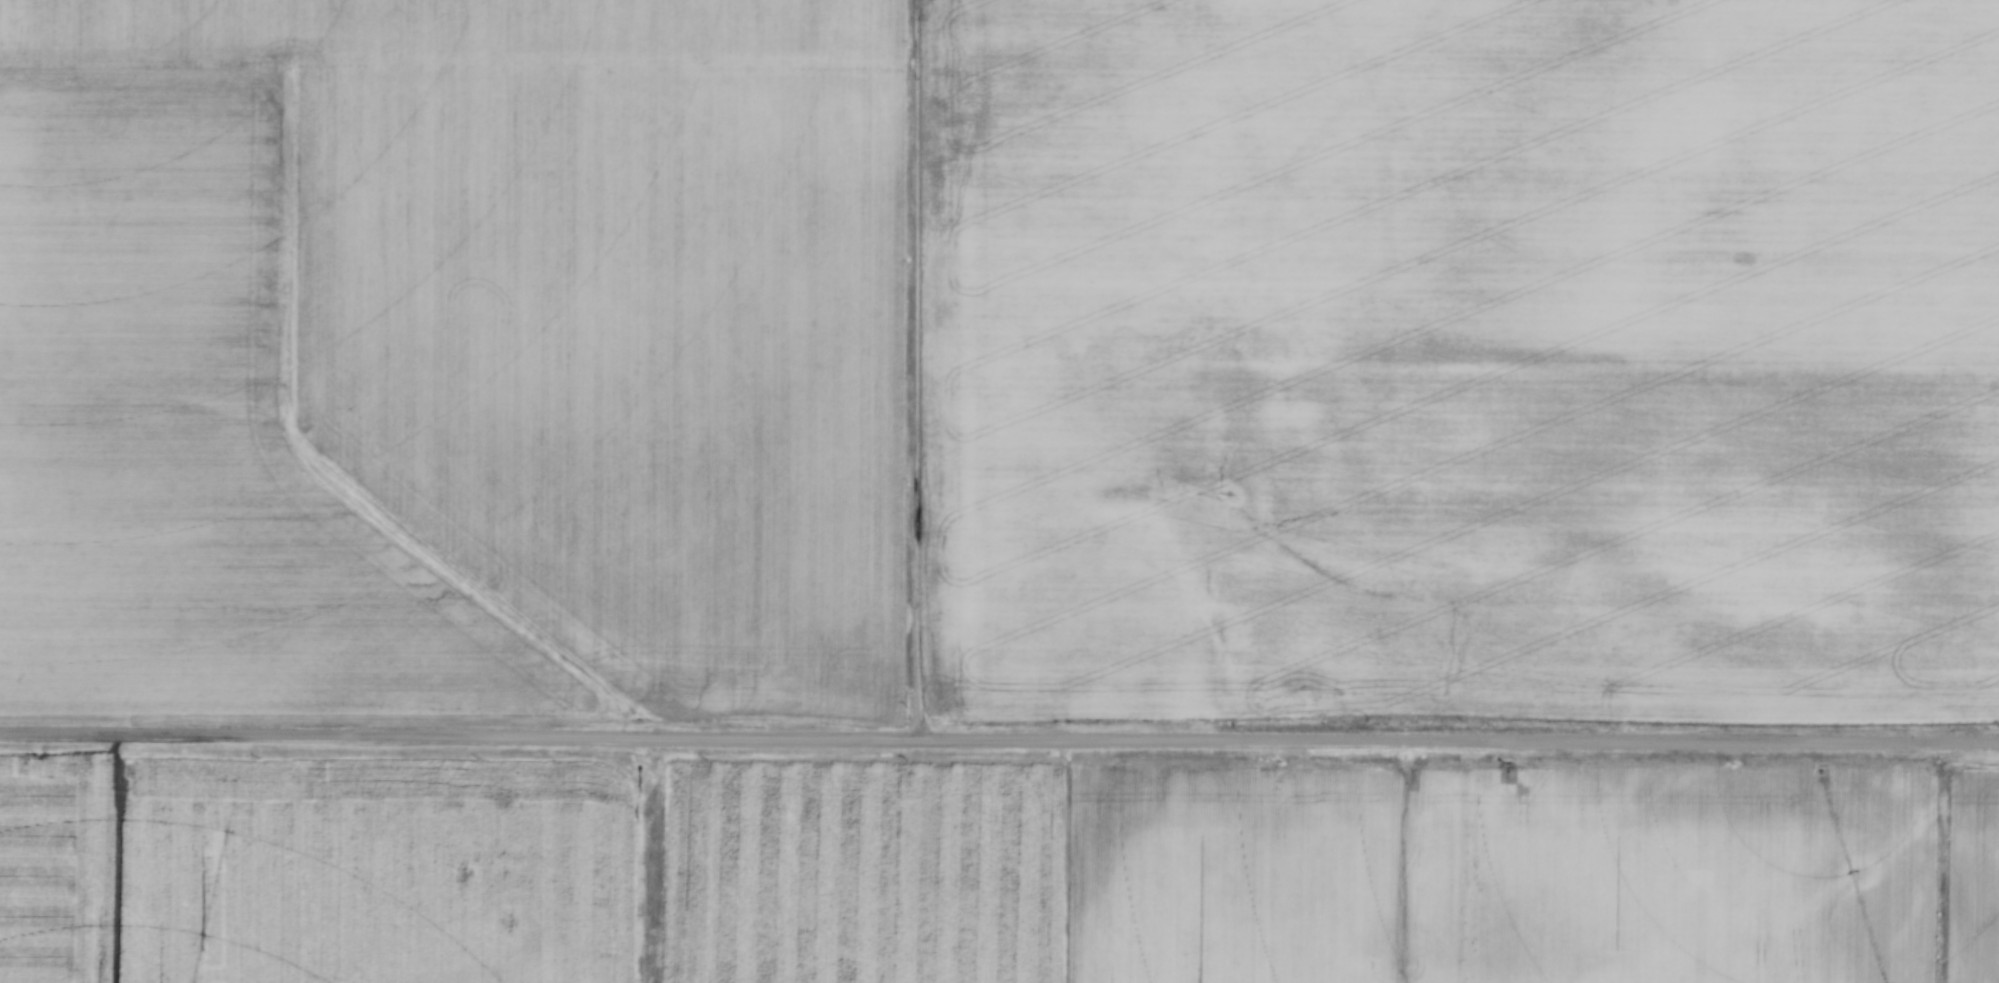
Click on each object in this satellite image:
road: (999, 743)

